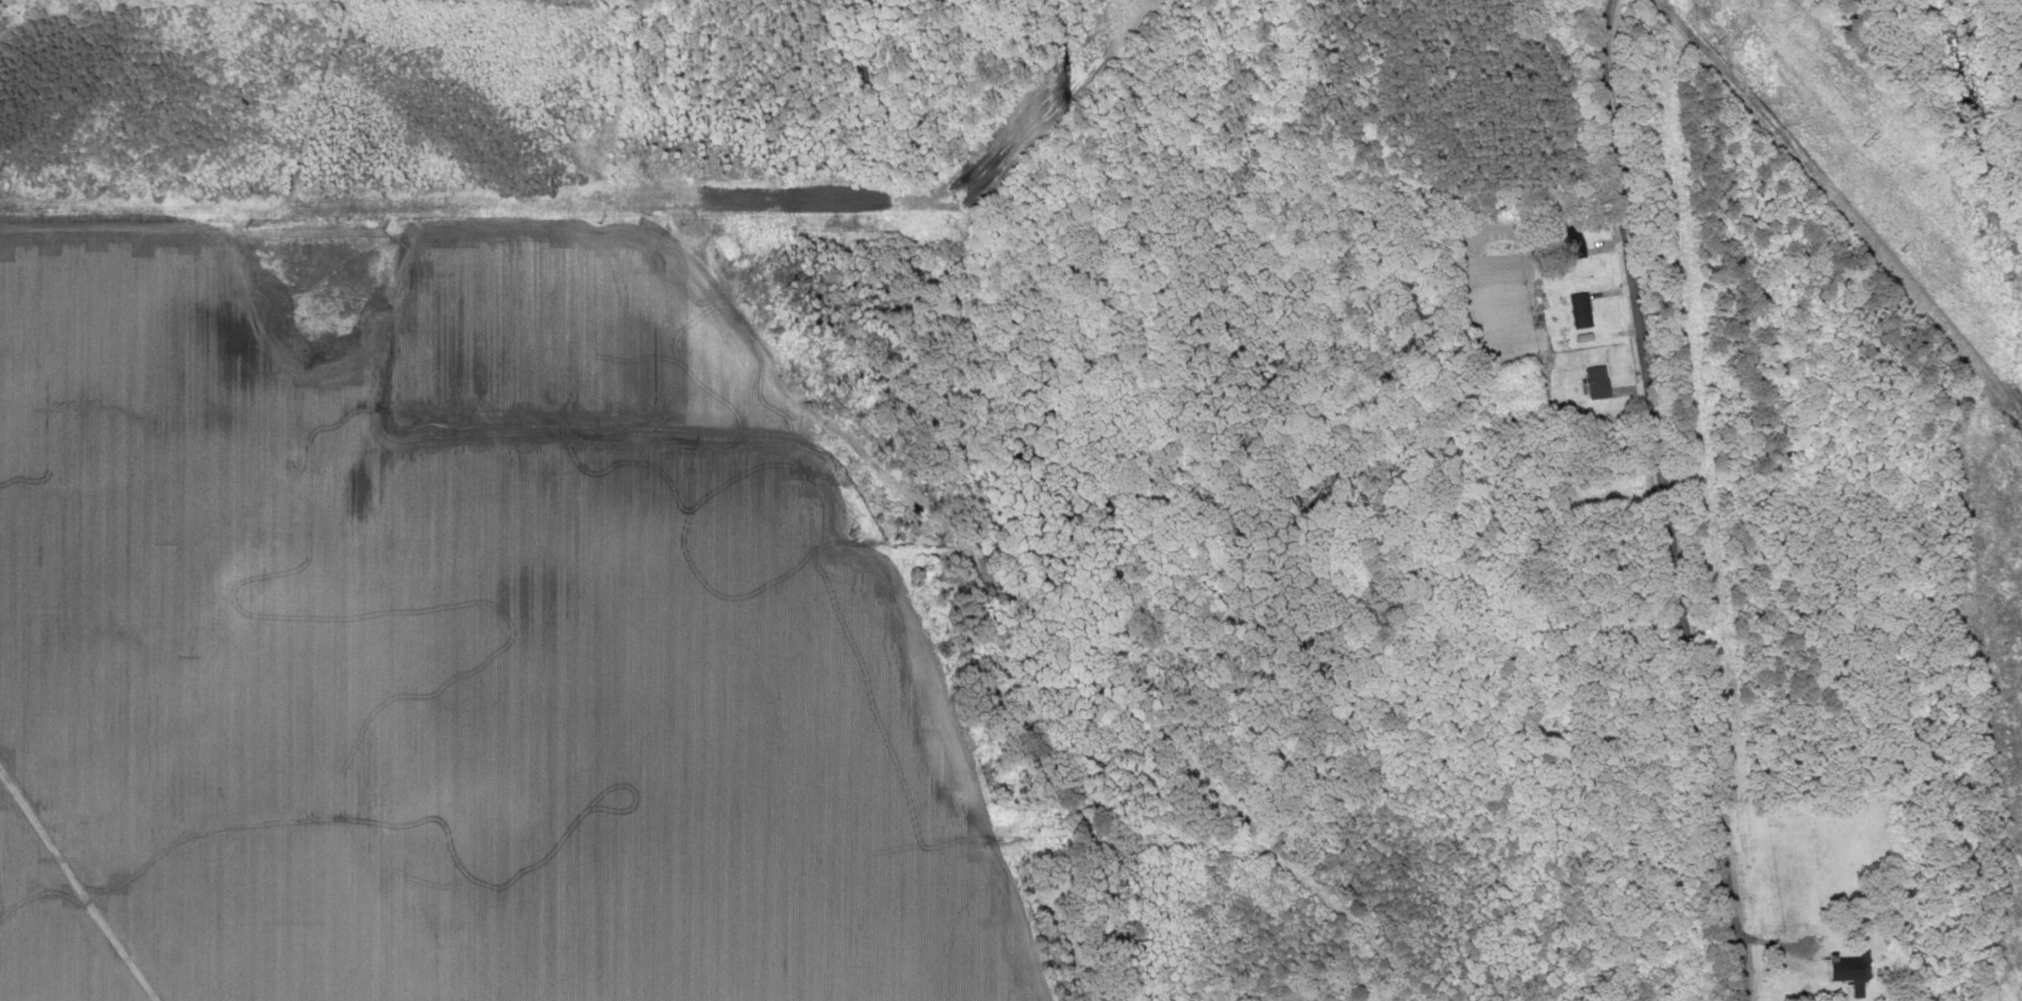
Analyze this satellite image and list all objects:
building: (1573, 242)
building: (1579, 309)
building: (1597, 382)
road: (1663, 500)
building: (1850, 970)

